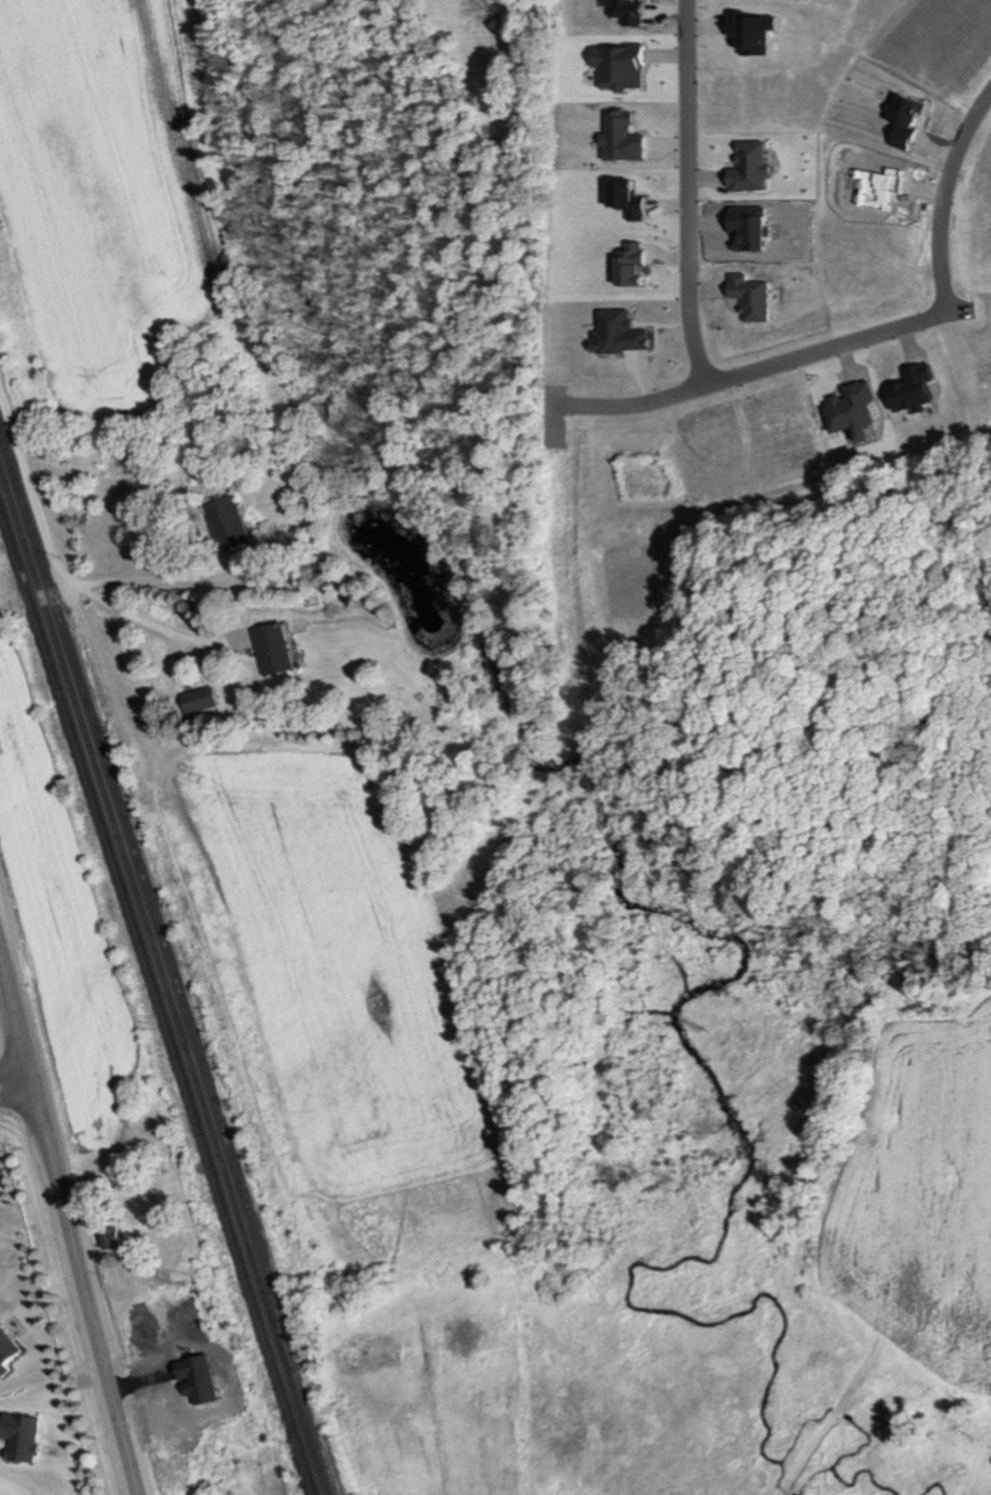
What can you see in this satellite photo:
building: (625, 11)
building: (749, 32)
building: (618, 67)
building: (905, 121)
building: (620, 138)
building: (749, 169)
road: (935, 190)
road: (686, 193)
crop: (104, 197)
building: (626, 199)
building: (630, 265)
building: (750, 297)
building: (618, 334)
road: (757, 369)
building: (914, 389)
building: (853, 411)
road: (31, 497)
building: (227, 524)
road: (150, 582)
road: (4, 608)
road: (160, 628)
building: (274, 649)
road: (177, 658)
road: (98, 668)
building: (199, 700)
railway: (149, 903)
crop: (343, 968)
railway: (163, 984)
railway: (158, 1000)
road: (14, 1068)
road: (17, 1097)
crop: (917, 1199)
road: (68, 1223)
building: (113, 1240)
building: (7, 1351)
road: (858, 1374)
building: (21, 1437)
road: (809, 1453)

